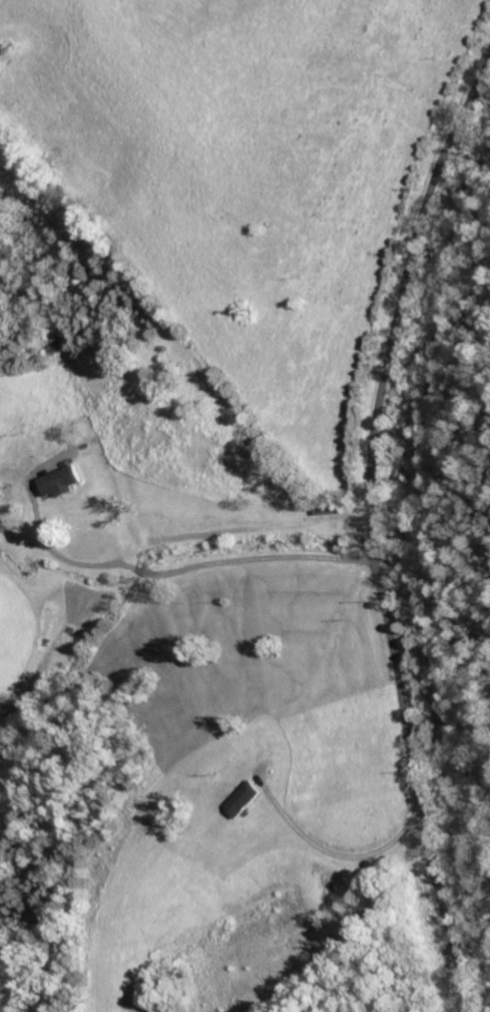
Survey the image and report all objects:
building: (63, 482)
road: (368, 531)
road: (180, 569)
building: (247, 799)
road: (342, 857)

